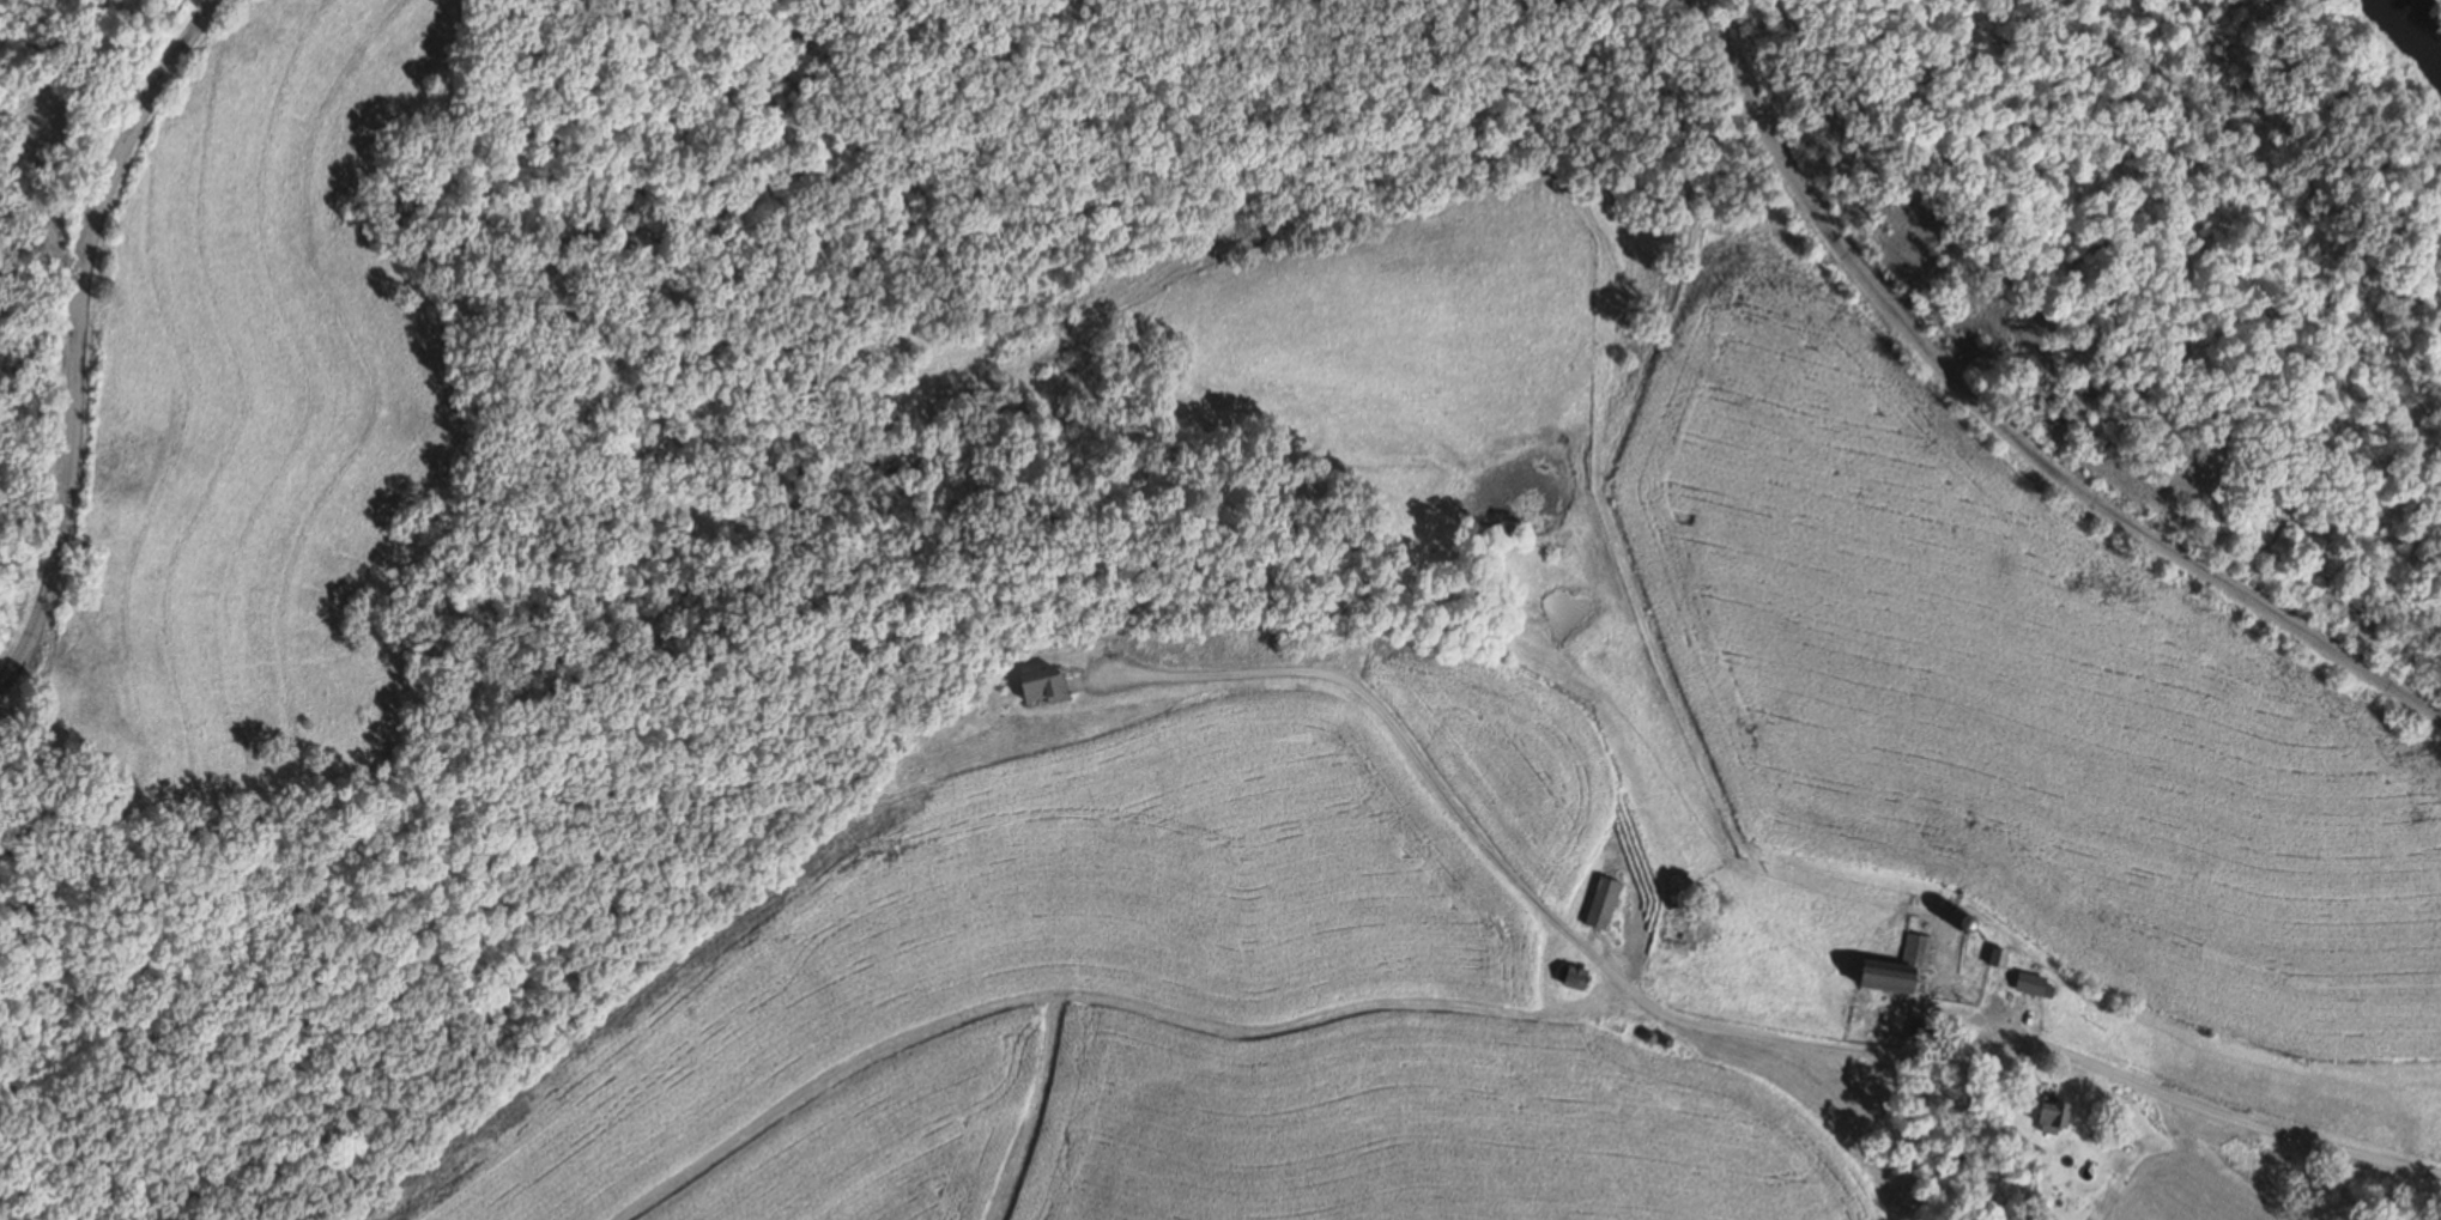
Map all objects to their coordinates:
river: (2417, 23)
road: (79, 335)
road: (1999, 427)
building: (1038, 688)
building: (1600, 904)
building: (1892, 969)
building: (2033, 987)
road: (2246, 1123)

